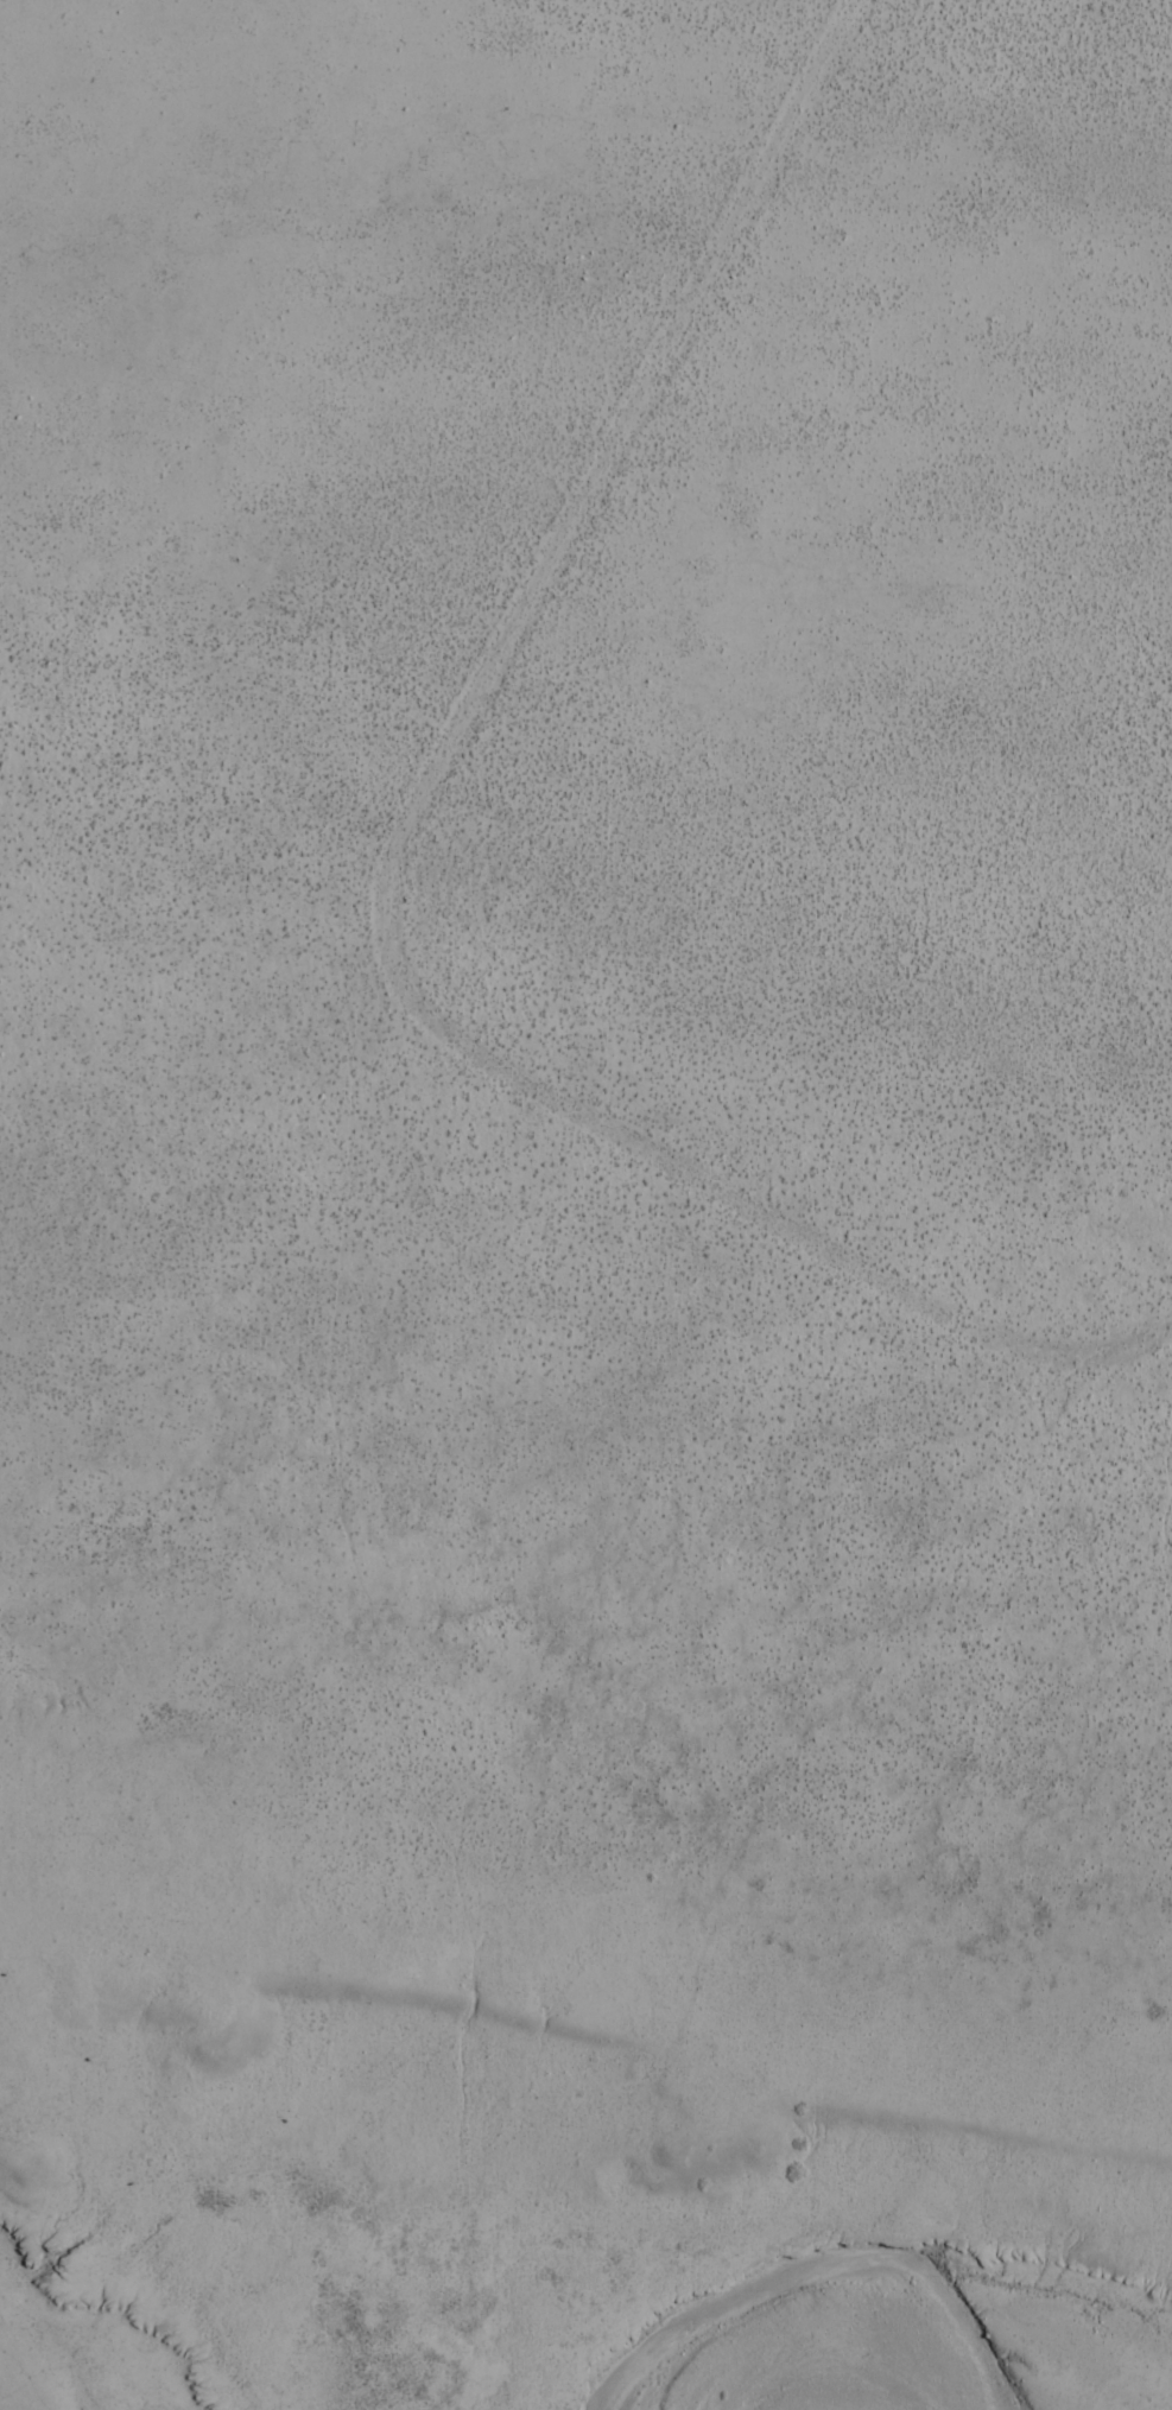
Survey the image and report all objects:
road: (411, 864)

